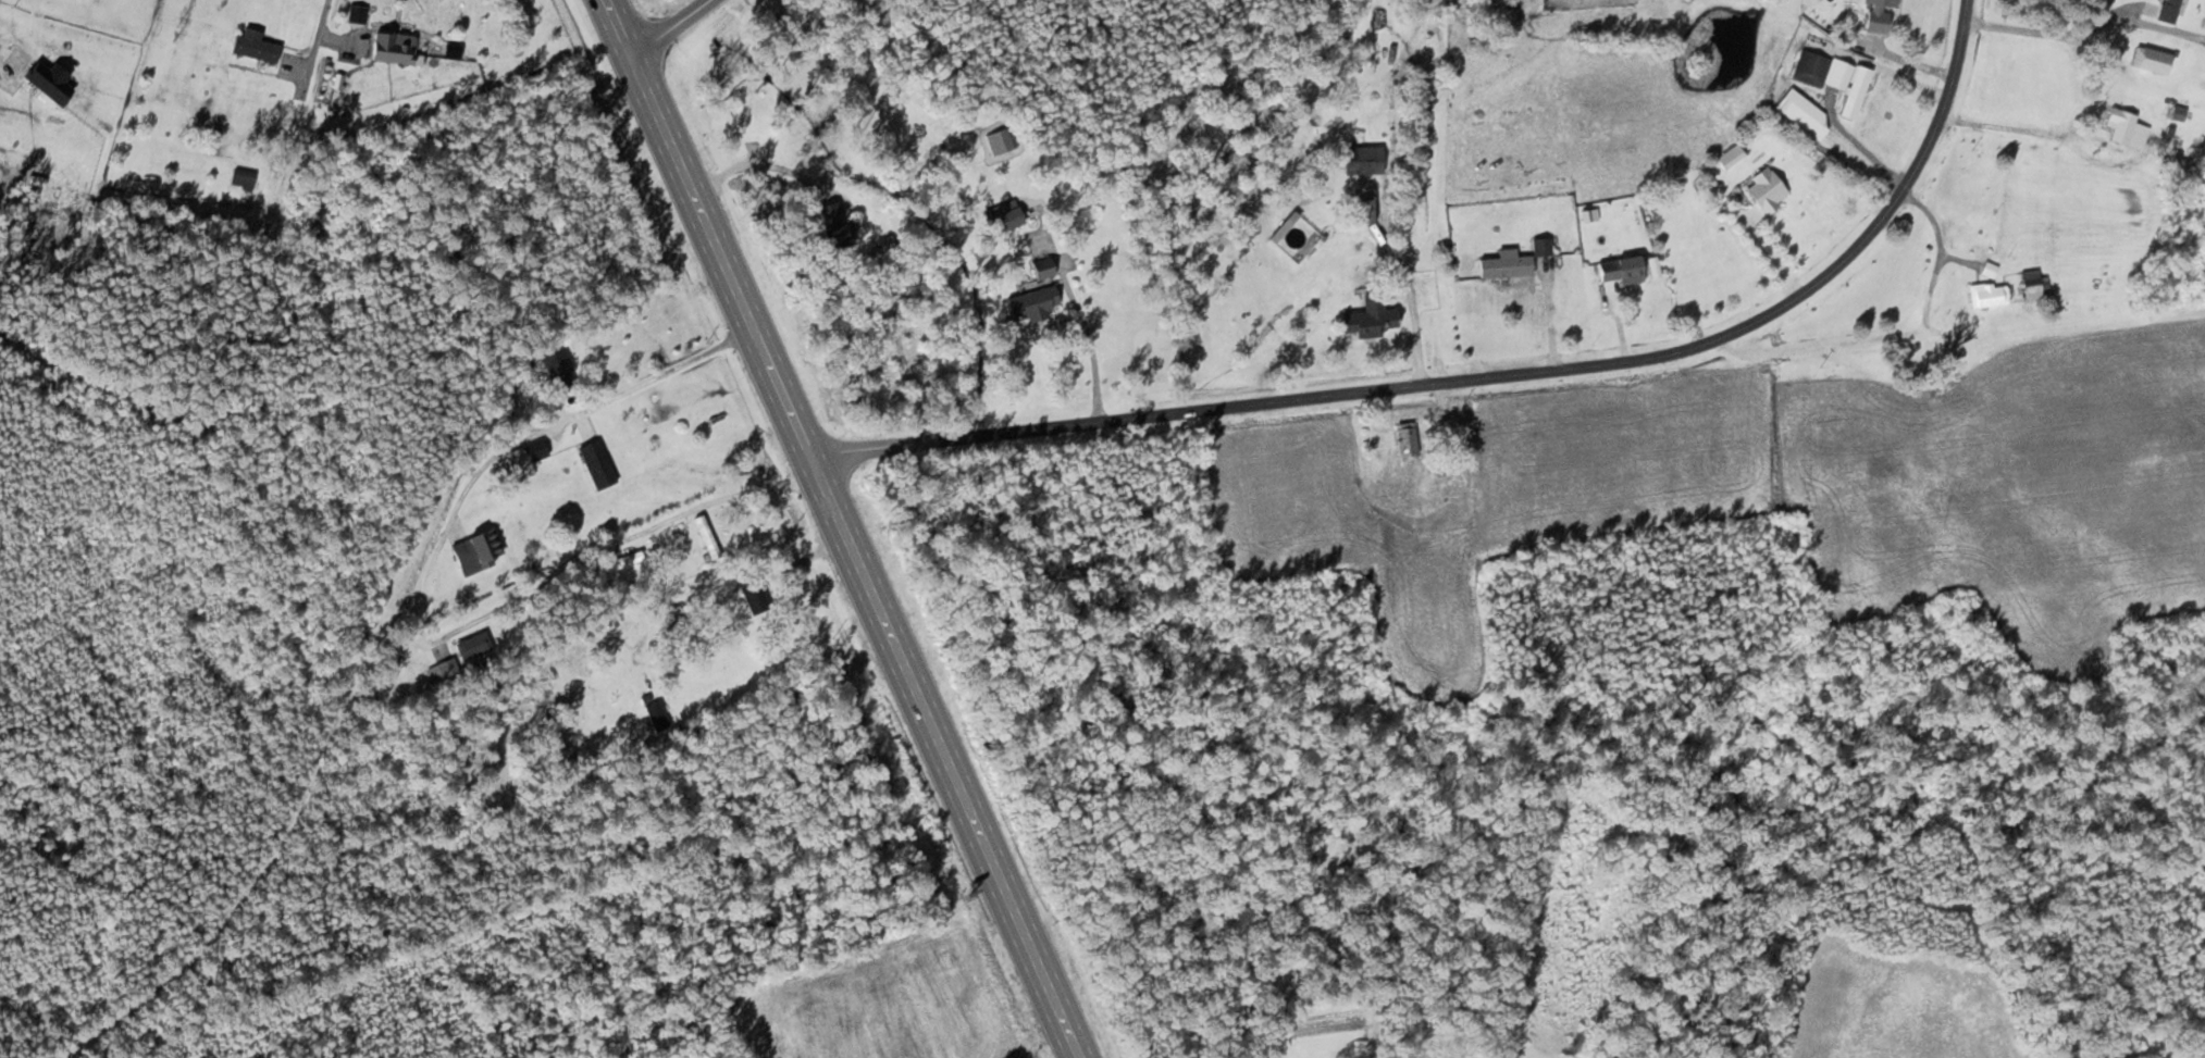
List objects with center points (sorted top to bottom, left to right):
building: (2169, 10)
building: (1876, 14)
road: (621, 27)
road: (671, 27)
building: (255, 46)
building: (391, 47)
building: (2152, 59)
building: (1822, 71)
building: (1855, 91)
road: (1936, 123)
building: (2126, 127)
building: (1000, 139)
building: (1730, 155)
building: (1361, 159)
building: (241, 178)
building: (1766, 189)
building: (1364, 208)
building: (1002, 216)
building: (833, 222)
building: (1541, 246)
building: (1504, 264)
building: (1041, 267)
building: (1620, 270)
building: (2032, 284)
building: (1987, 295)
building: (1029, 303)
building: (1367, 319)
building: (555, 364)
road: (1361, 394)
building: (1405, 441)
building: (524, 460)
building: (596, 463)
building: (706, 536)
building: (476, 550)
road: (858, 556)
building: (748, 595)
building: (472, 645)
road: (384, 659)
building: (443, 672)
building: (656, 714)
building: (955, 1032)

